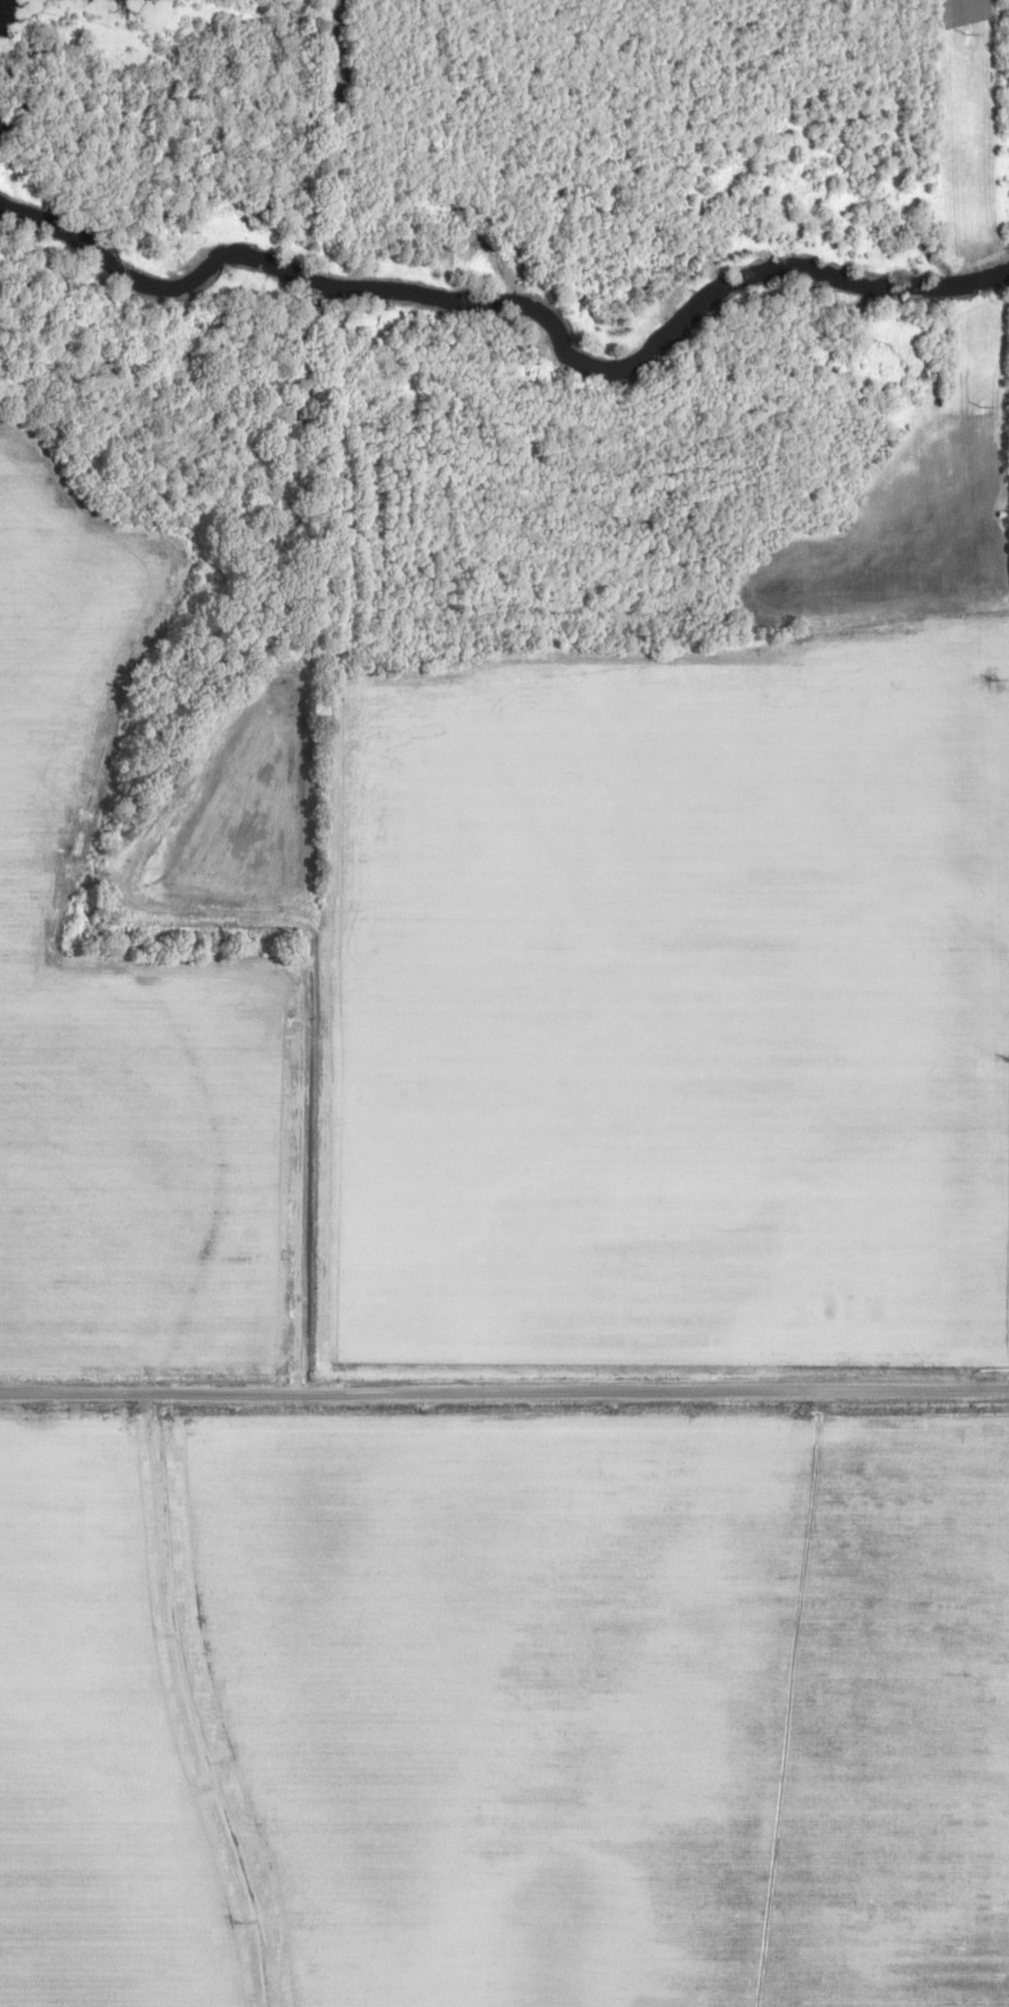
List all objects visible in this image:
road: (504, 1389)

